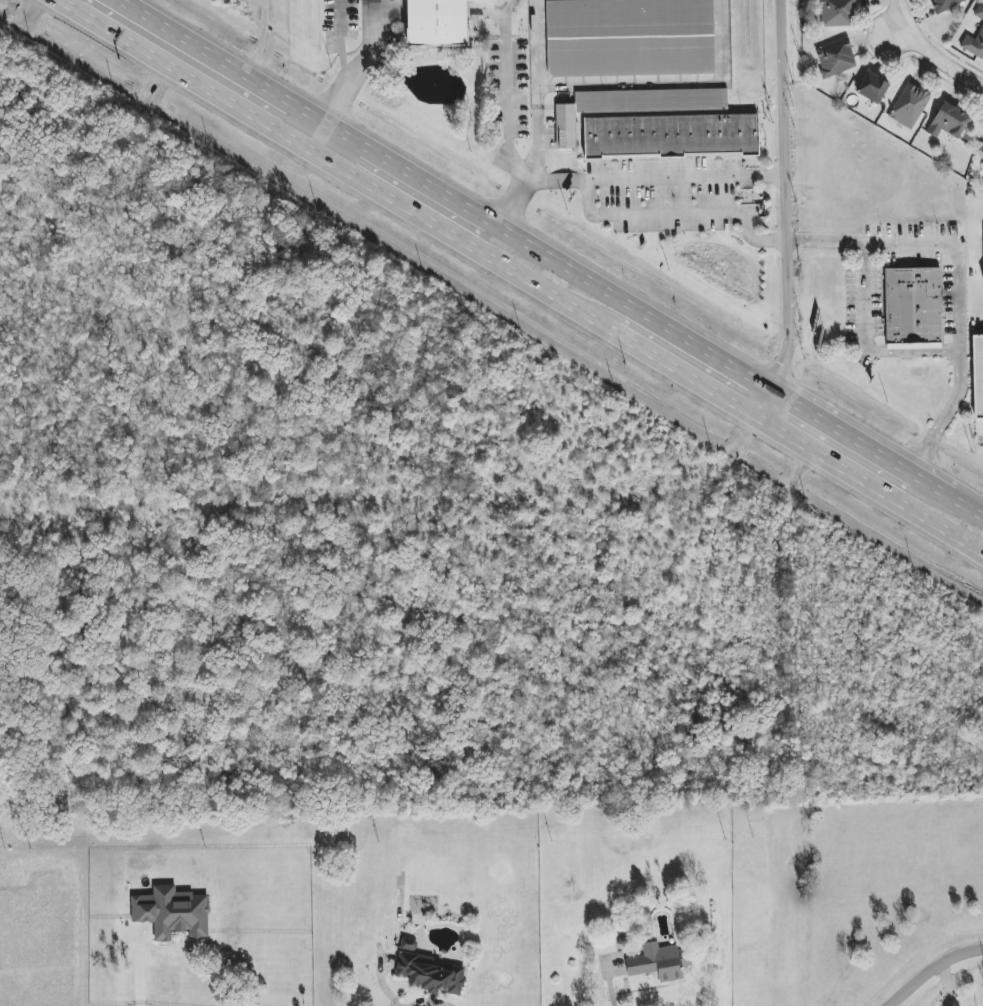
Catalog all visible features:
building: (945, 4)
road: (64, 5)
building: (979, 11)
building: (837, 13)
building: (437, 22)
road: (900, 28)
building: (630, 37)
road: (258, 39)
road: (339, 40)
building: (974, 44)
road: (931, 52)
road: (534, 53)
building: (835, 57)
road: (216, 60)
road: (358, 65)
road: (188, 79)
building: (872, 87)
building: (632, 106)
building: (909, 106)
road: (505, 115)
building: (948, 121)
road: (310, 134)
building: (671, 136)
road: (401, 171)
road: (534, 175)
road: (659, 177)
road: (785, 197)
road: (679, 211)
road: (457, 240)
road: (924, 246)
road: (973, 246)
building: (980, 260)
building: (982, 279)
road: (861, 296)
road: (628, 306)
building: (913, 306)
road: (976, 325)
road: (909, 352)
road: (684, 375)
building: (977, 376)
road: (763, 404)
road: (942, 417)
road: (840, 433)
road: (869, 485)
road: (929, 487)
road: (966, 509)
building: (172, 912)
building: (408, 944)
building: (657, 962)
road: (931, 967)
road: (135, 970)
building: (430, 974)
road: (381, 984)
road: (945, 984)
road: (610, 987)
road: (425, 1002)

